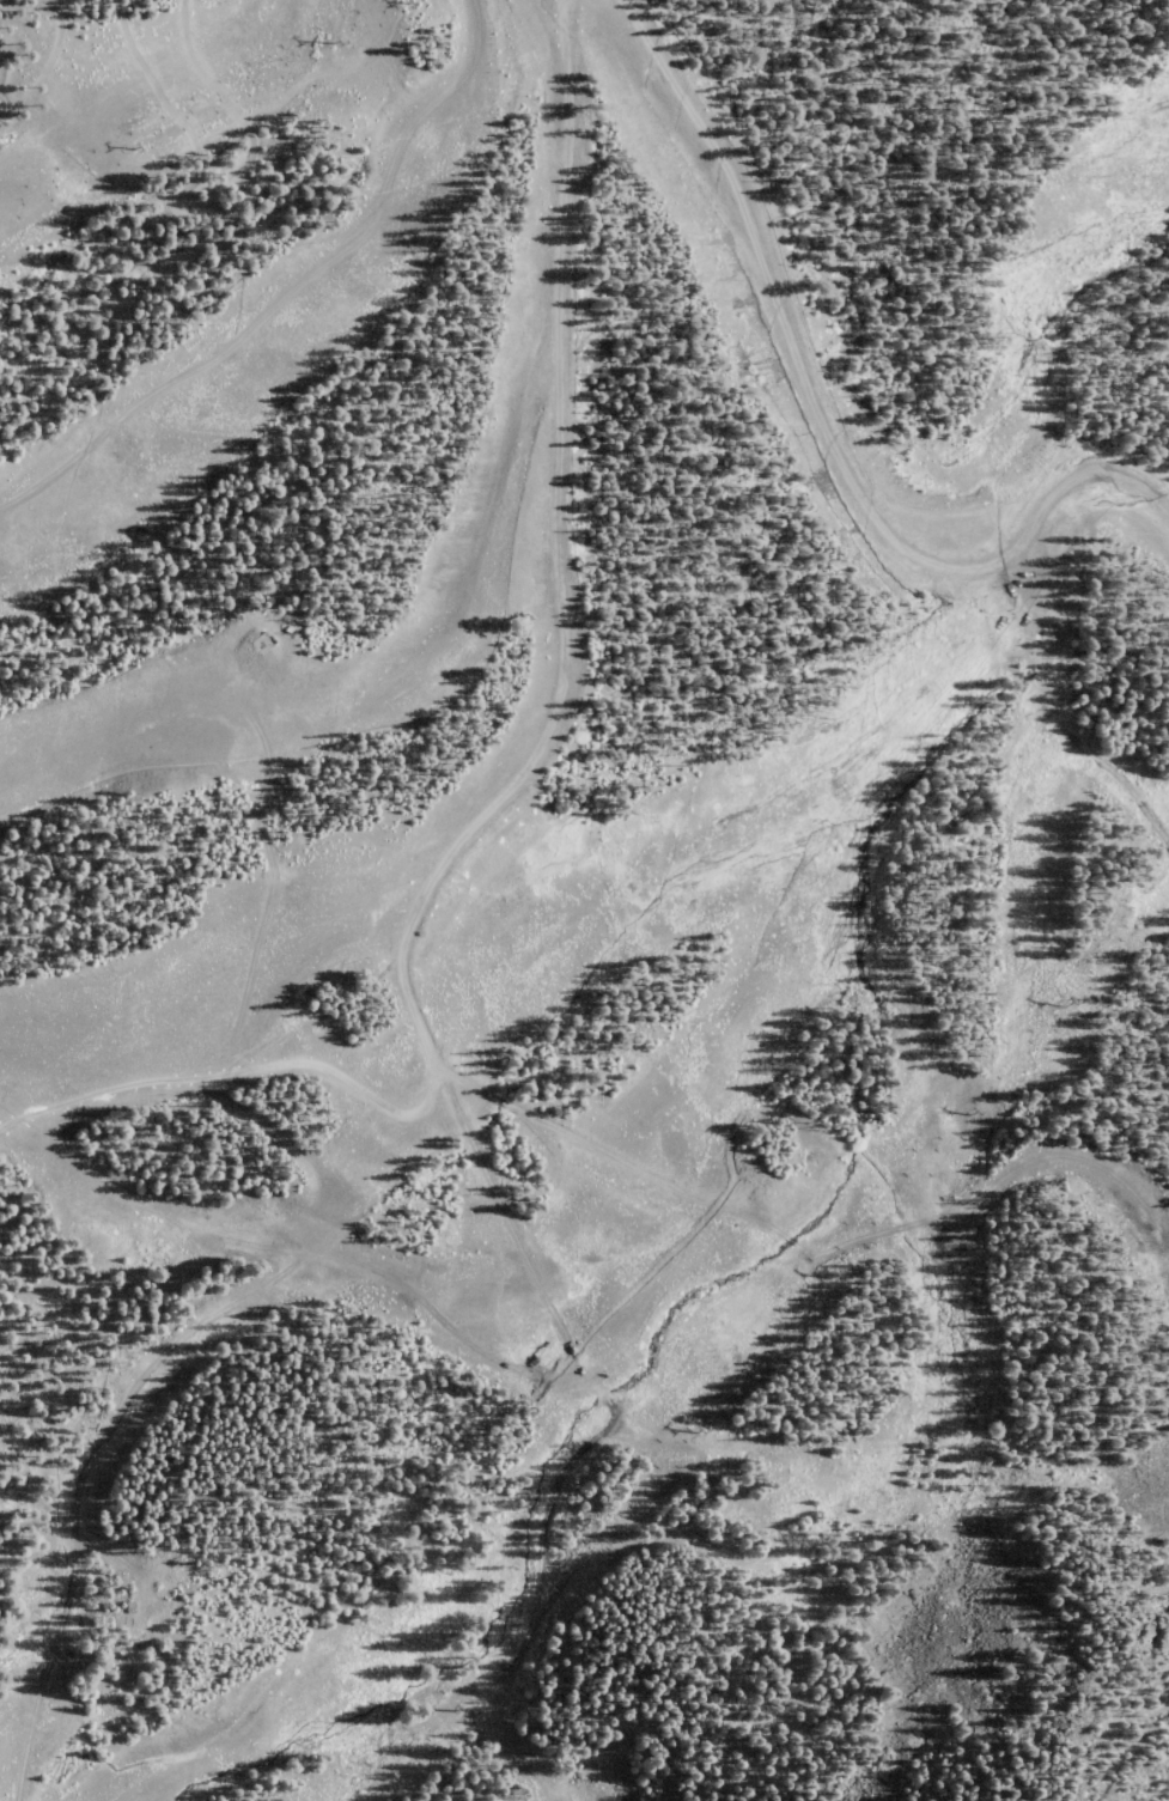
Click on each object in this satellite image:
road: (102, 28)
aerialway pylon: (331, 44)
road: (49, 66)
road: (206, 86)
aerialway pylon: (133, 150)
road: (225, 174)
road: (298, 297)
road: (820, 413)
building: (291, 628)
road: (1060, 681)
road: (556, 708)
road: (263, 829)
ski resort: (583, 898)
aerialway pylon: (1059, 1002)
road: (458, 1103)
aerialway pylon: (964, 1109)
road: (603, 1152)
aerialway pylon: (821, 1271)
road: (742, 1319)
aerialway pylon: (687, 1423)
road: (89, 1477)
road: (733, 1491)
aerialway pylon: (591, 1532)
aerialway pylon: (444, 1699)

